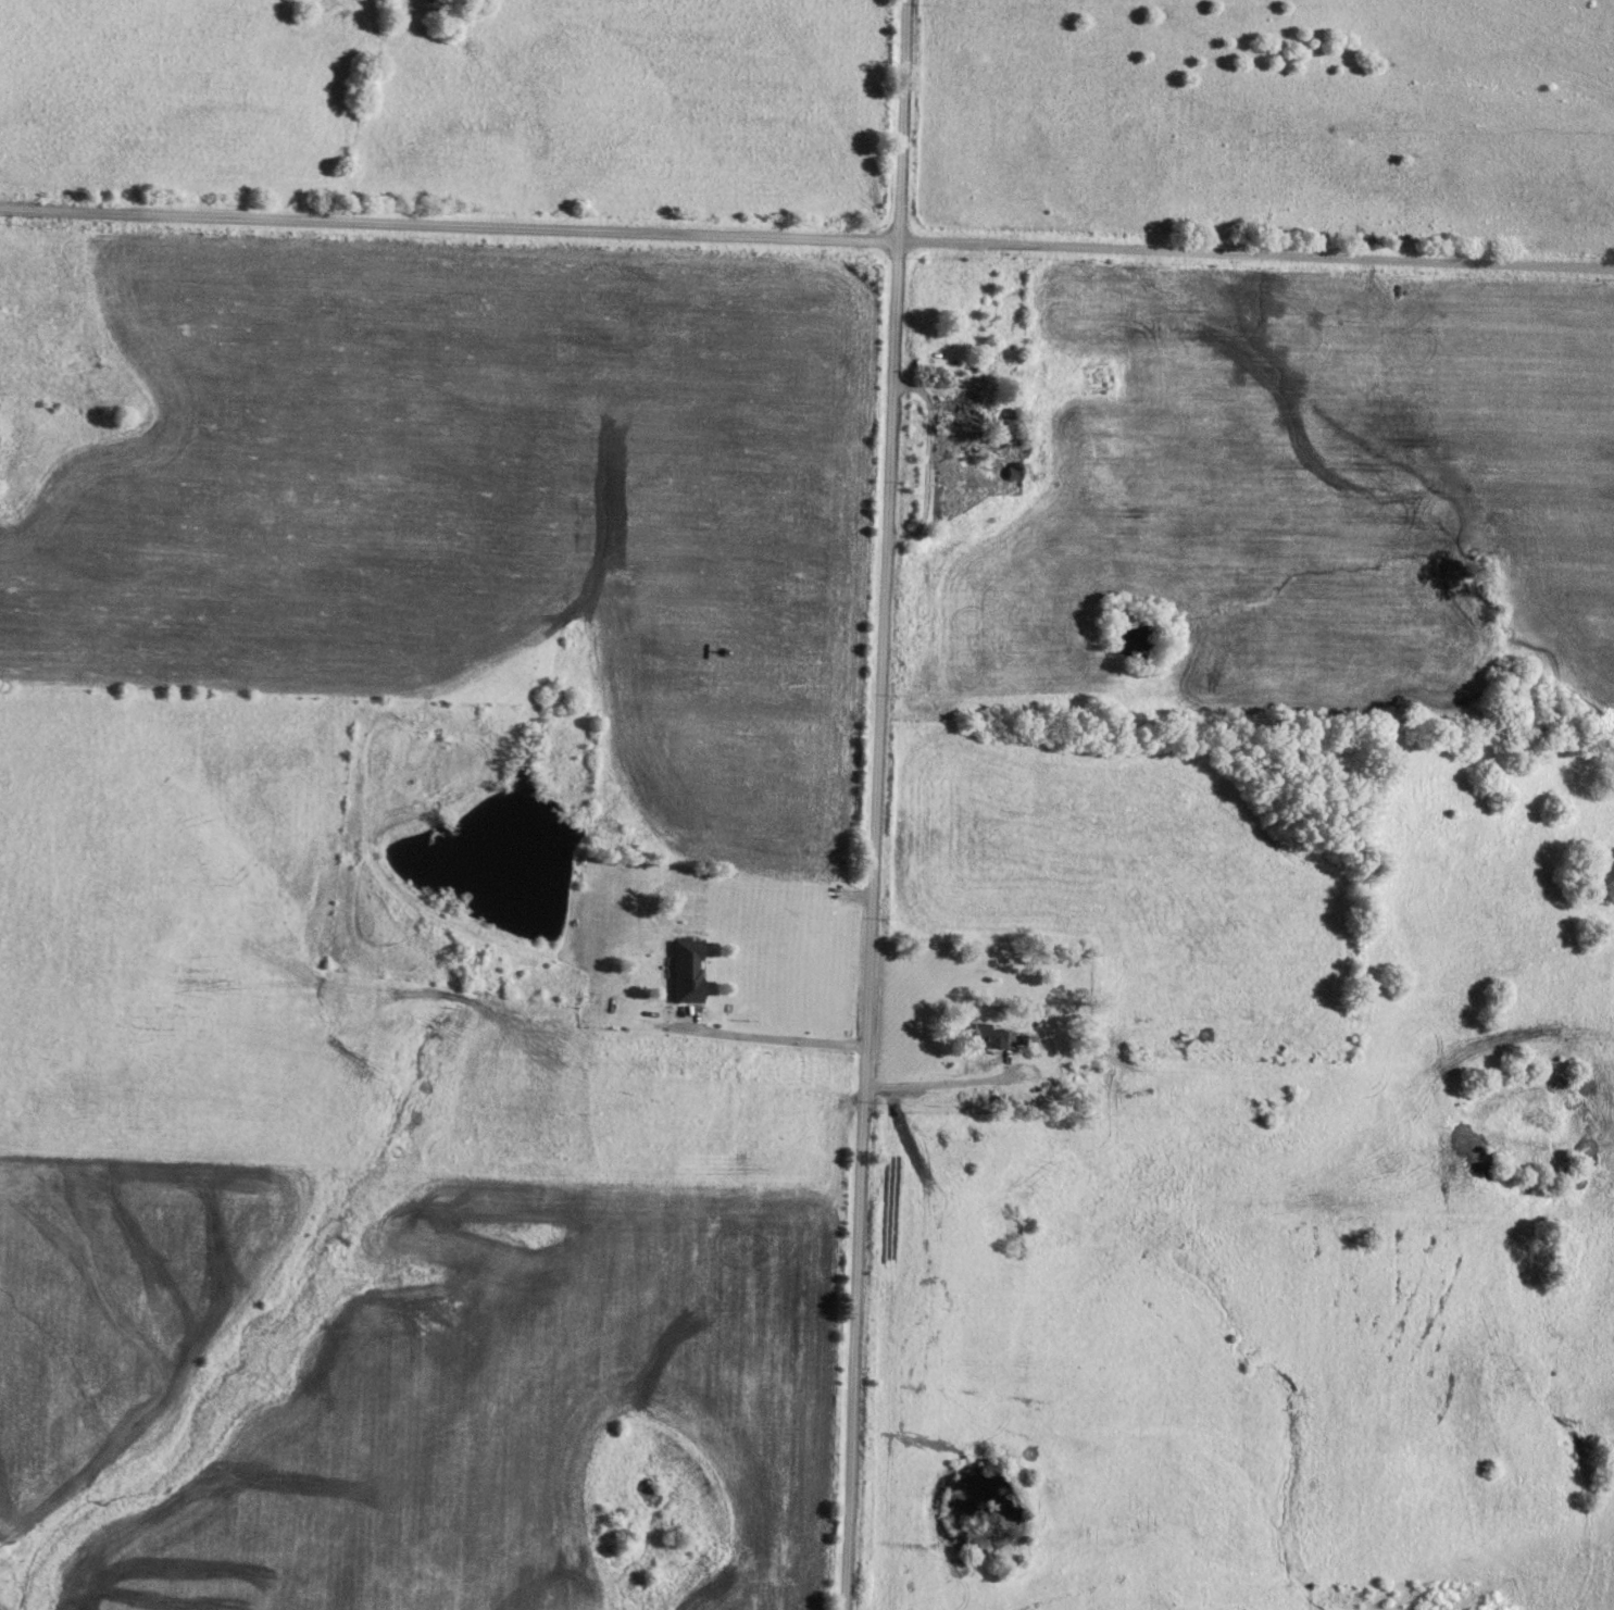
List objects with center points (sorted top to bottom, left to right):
road: (806, 235)
building: (959, 411)
road: (928, 459)
road: (876, 804)
building: (684, 972)
building: (983, 1034)
road: (768, 1038)
road: (947, 1077)

